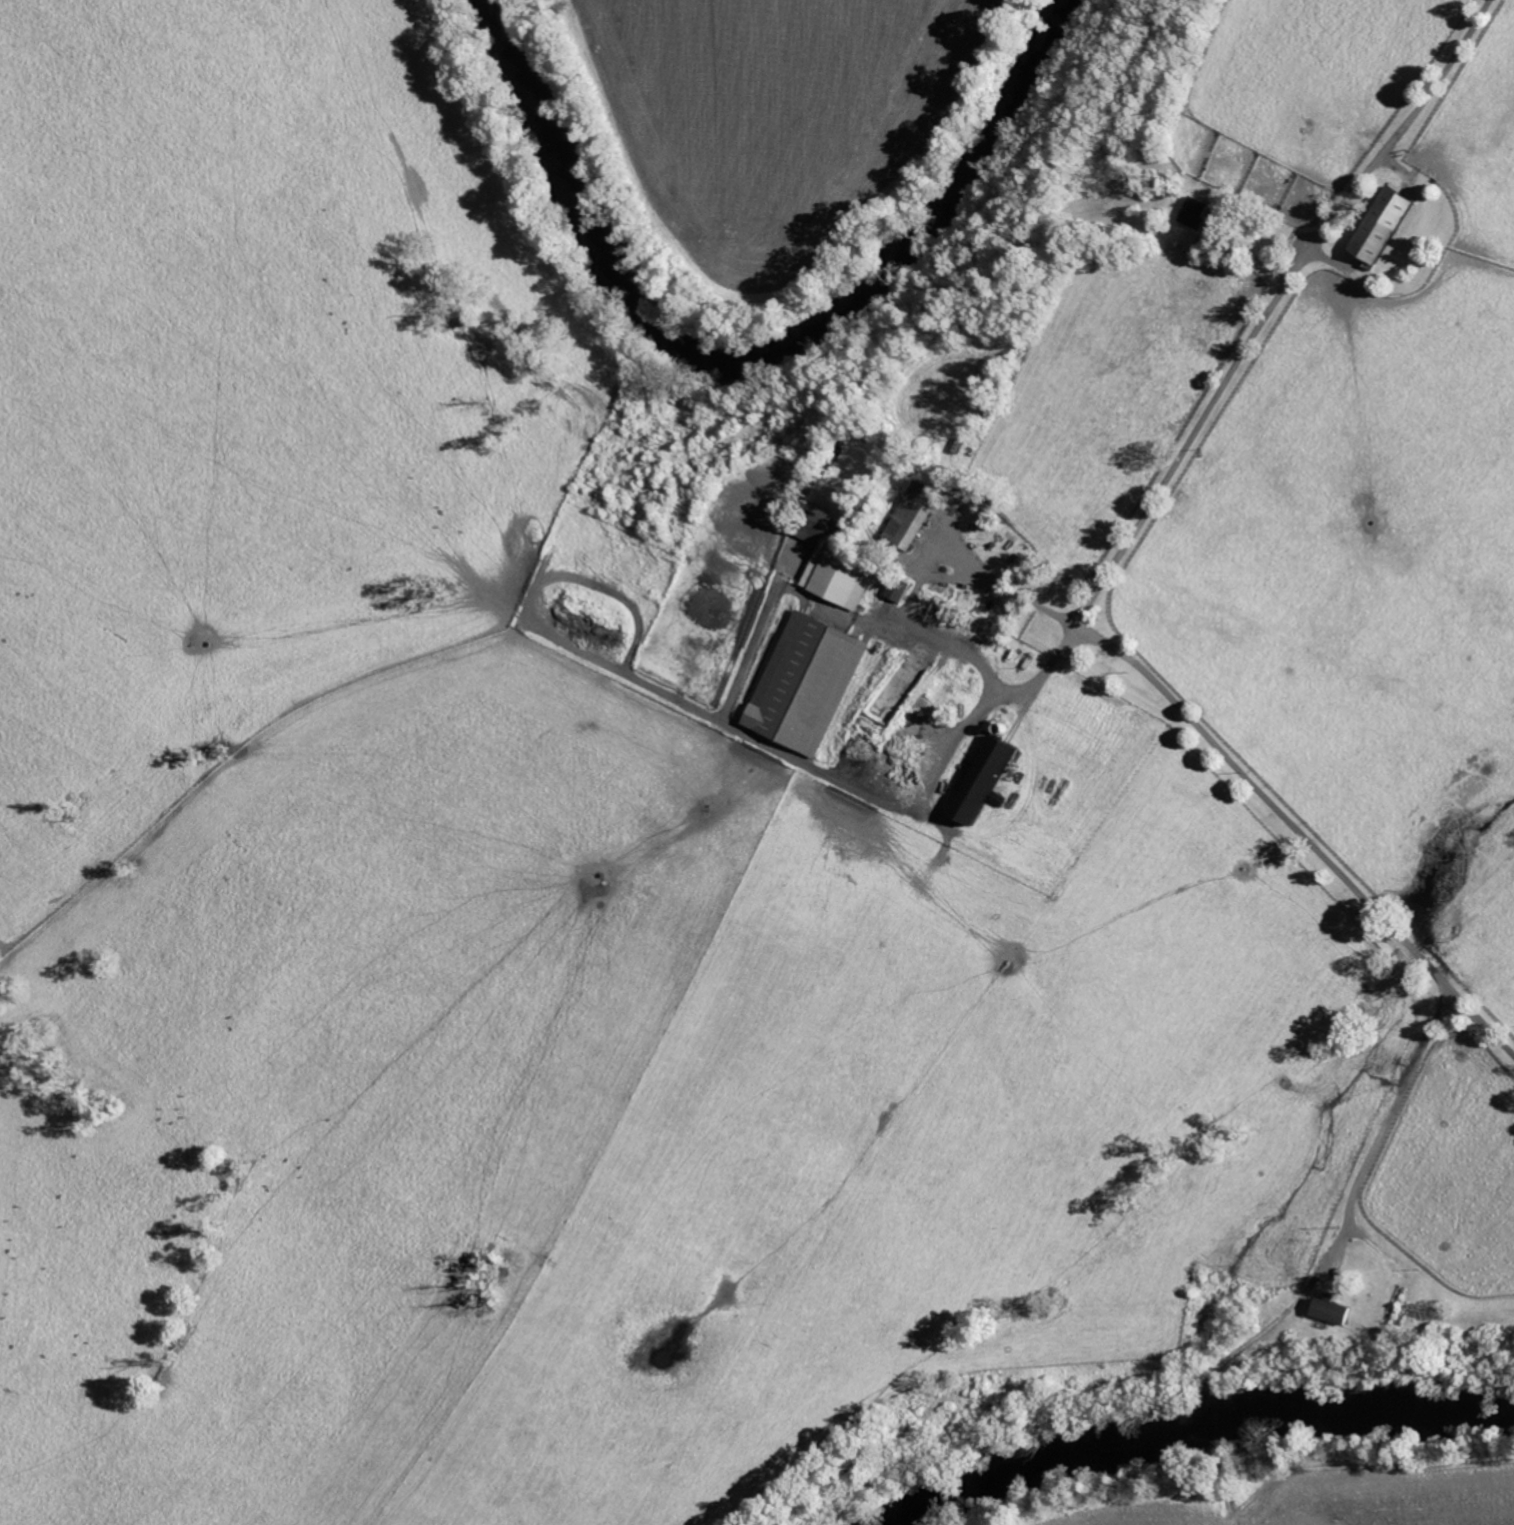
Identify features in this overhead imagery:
building: (1190, 211)
building: (1376, 223)
river: (769, 345)
building: (908, 515)
building: (820, 517)
road: (1112, 565)
building: (834, 577)
building: (894, 589)
road: (970, 657)
road: (1045, 669)
building: (802, 683)
building: (977, 780)
road: (1395, 1102)
building: (1331, 1310)
river: (1196, 1440)

